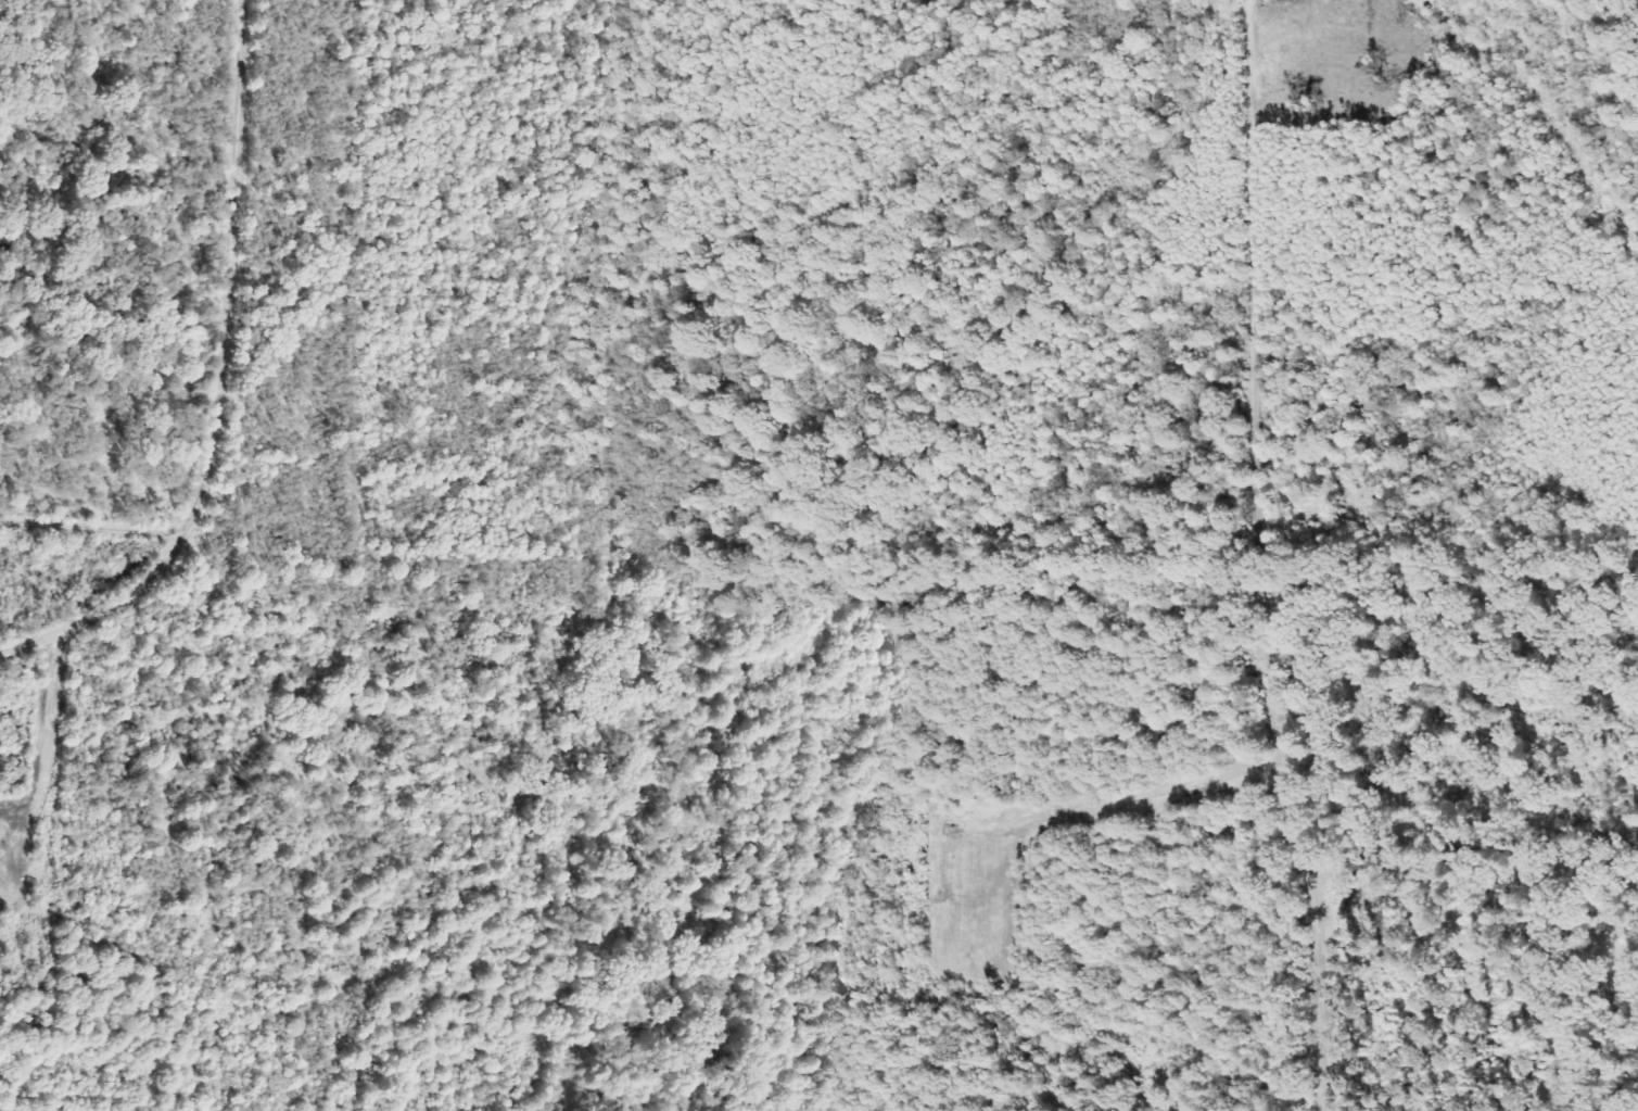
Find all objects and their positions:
road: (219, 379)
road: (1248, 559)

